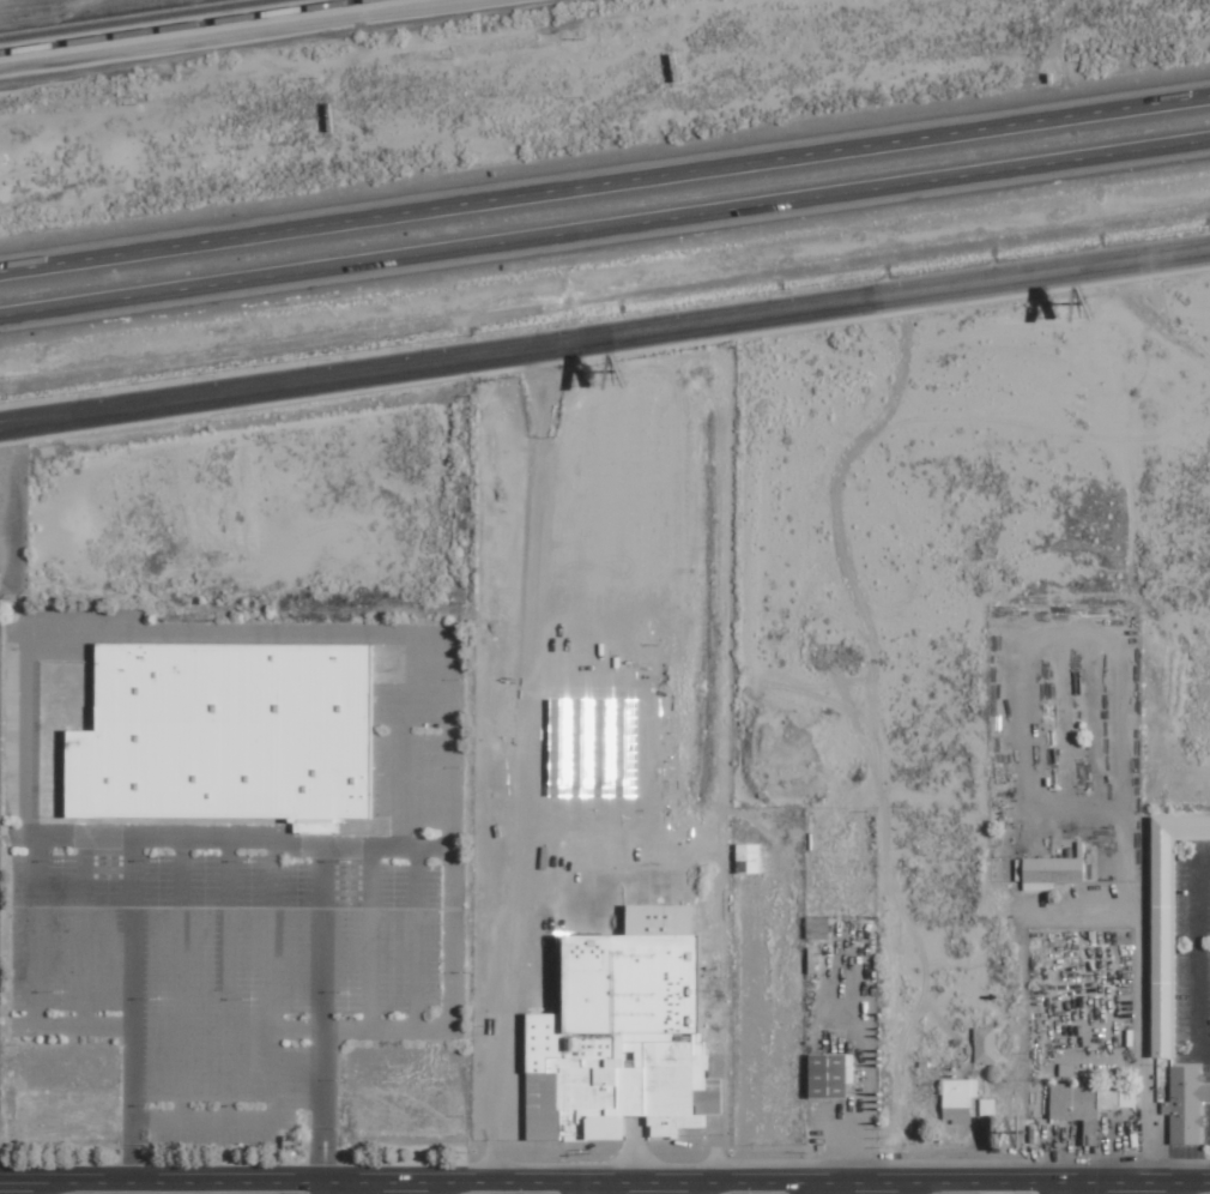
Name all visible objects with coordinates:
railway: (91, 12)
railway: (129, 18)
railway: (176, 25)
railway: (216, 31)
street lamp: (583, 36)
road: (398, 59)
road: (605, 183)
road: (605, 229)
road: (605, 337)
building: (224, 734)
road: (399, 742)
road: (450, 818)
road: (238, 836)
building: (748, 857)
building: (1051, 872)
building: (1168, 922)
building: (817, 927)
road: (81, 930)
road: (369, 935)
road: (415, 935)
parking lot: (252, 945)
road: (272, 969)
road: (180, 978)
road: (225, 978)
road: (131, 1009)
road: (321, 1019)
building: (617, 1039)
building: (985, 1044)
building: (830, 1074)
building: (958, 1099)
building: (1089, 1103)
building: (1186, 1104)
building: (987, 1106)
road: (235, 1121)
road: (605, 1184)
road: (821, 1188)

